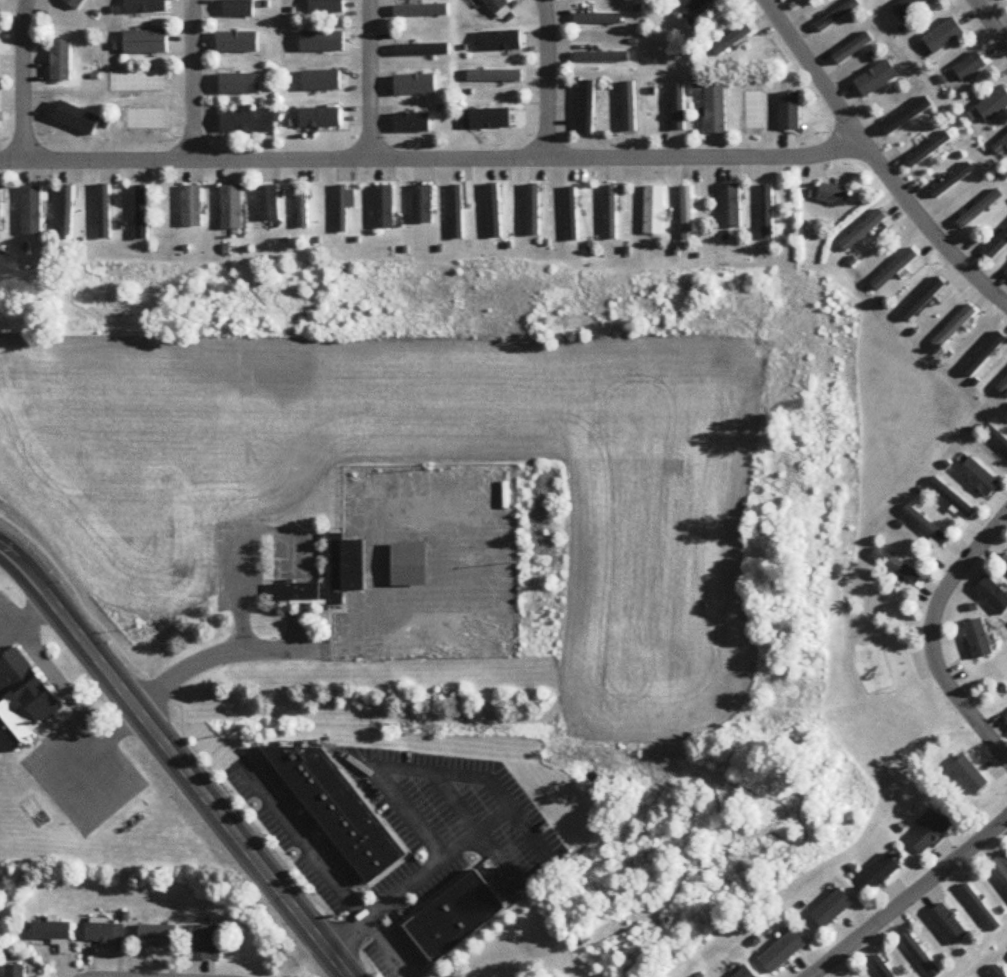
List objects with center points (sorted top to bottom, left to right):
building: (75, 3)
building: (495, 6)
building: (146, 7)
building: (327, 7)
building: (697, 8)
building: (239, 9)
building: (422, 11)
building: (838, 15)
building: (598, 21)
road: (991, 22)
building: (500, 42)
building: (601, 58)
building: (61, 61)
building: (969, 66)
building: (140, 75)
road: (547, 78)
road: (371, 79)
road: (22, 80)
road: (193, 80)
building: (993, 105)
building: (716, 110)
building: (677, 111)
building: (755, 113)
building: (321, 118)
building: (249, 122)
building: (413, 123)
building: (1001, 149)
building: (929, 150)
road: (430, 158)
road: (875, 162)
building: (952, 180)
building: (834, 196)
building: (269, 204)
building: (423, 205)
building: (192, 207)
building: (730, 207)
building: (232, 208)
building: (303, 208)
building: (344, 208)
building: (384, 208)
building: (979, 209)
building: (654, 211)
building: (32, 212)
building: (67, 212)
building: (495, 212)
building: (457, 213)
building: (611, 213)
building: (767, 213)
building: (687, 214)
building: (0, 215)
building: (572, 215)
building: (872, 229)
building: (997, 246)
building: (895, 270)
building: (955, 328)
building: (987, 353)
building: (1002, 388)
building: (996, 439)
building: (978, 478)
building: (951, 499)
building: (925, 526)
road: (452, 544)
building: (410, 565)
building: (345, 568)
building: (297, 592)
building: (993, 596)
road: (11, 619)
road: (933, 636)
road: (11, 639)
building: (979, 640)
road: (219, 647)
road: (60, 685)
building: (26, 688)
road: (174, 761)
road: (393, 766)
building: (341, 804)
road: (79, 806)
road: (477, 825)
road: (528, 829)
building: (933, 833)
building: (1004, 861)
road: (324, 865)
building: (881, 873)
road: (415, 877)
road: (908, 897)
building: (982, 910)
building: (457, 913)
building: (950, 926)
building: (53, 933)
building: (158, 933)
building: (105, 934)
building: (206, 944)
building: (921, 956)
building: (881, 967)
building: (16, 971)
building: (744, 973)
building: (997, 973)

